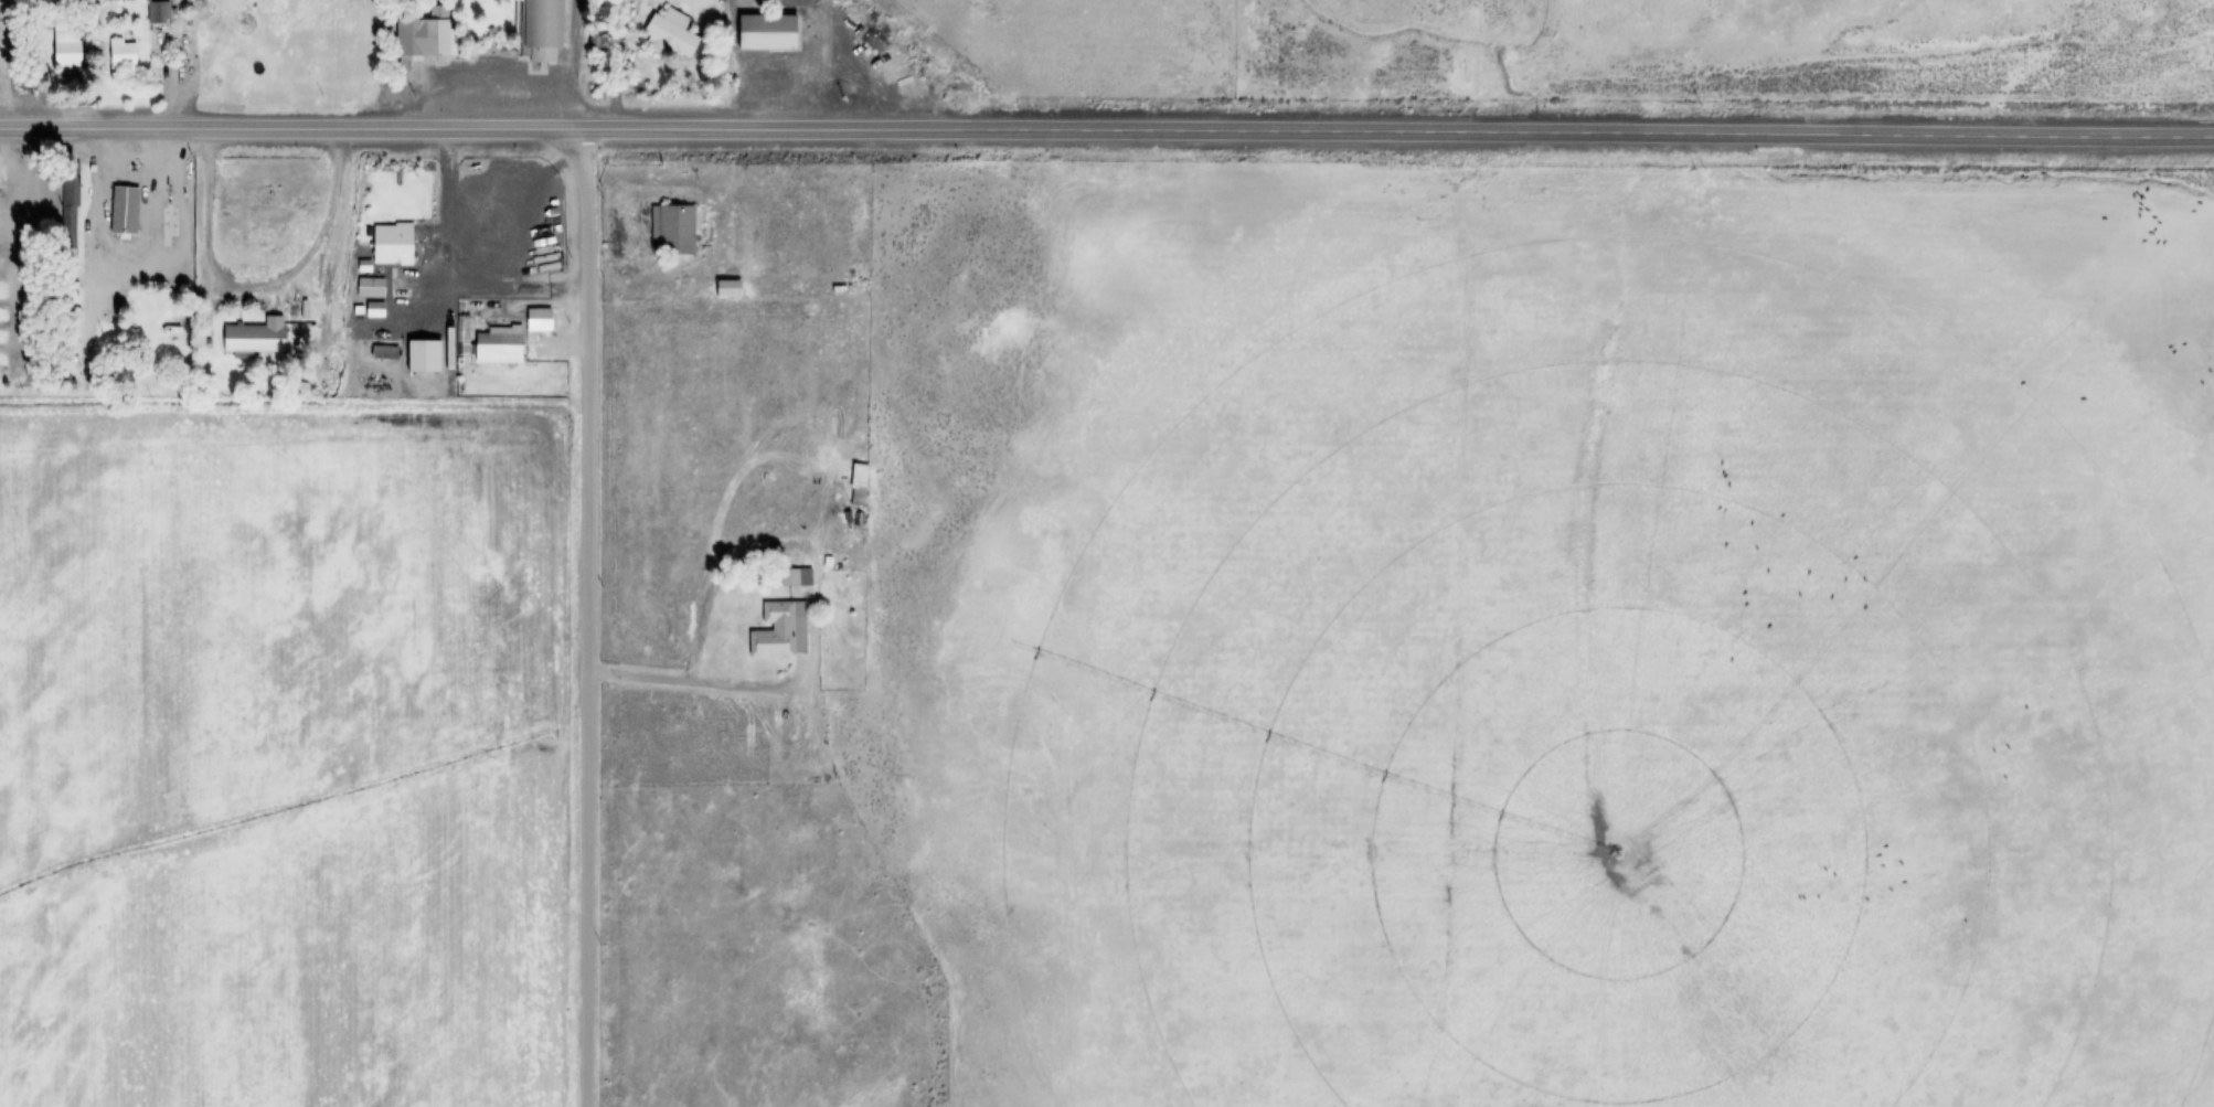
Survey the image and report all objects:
building: (160, 12)
building: (542, 29)
building: (770, 32)
building: (673, 33)
building: (427, 38)
building: (70, 51)
building: (124, 54)
road: (290, 128)
road: (1397, 131)
building: (126, 210)
road: (96, 223)
building: (673, 231)
building: (394, 245)
building: (371, 288)
building: (730, 289)
building: (163, 324)
building: (255, 339)
building: (499, 345)
building: (1, 375)
building: (860, 487)
building: (797, 578)
road: (587, 617)
building: (781, 631)
road: (685, 680)

